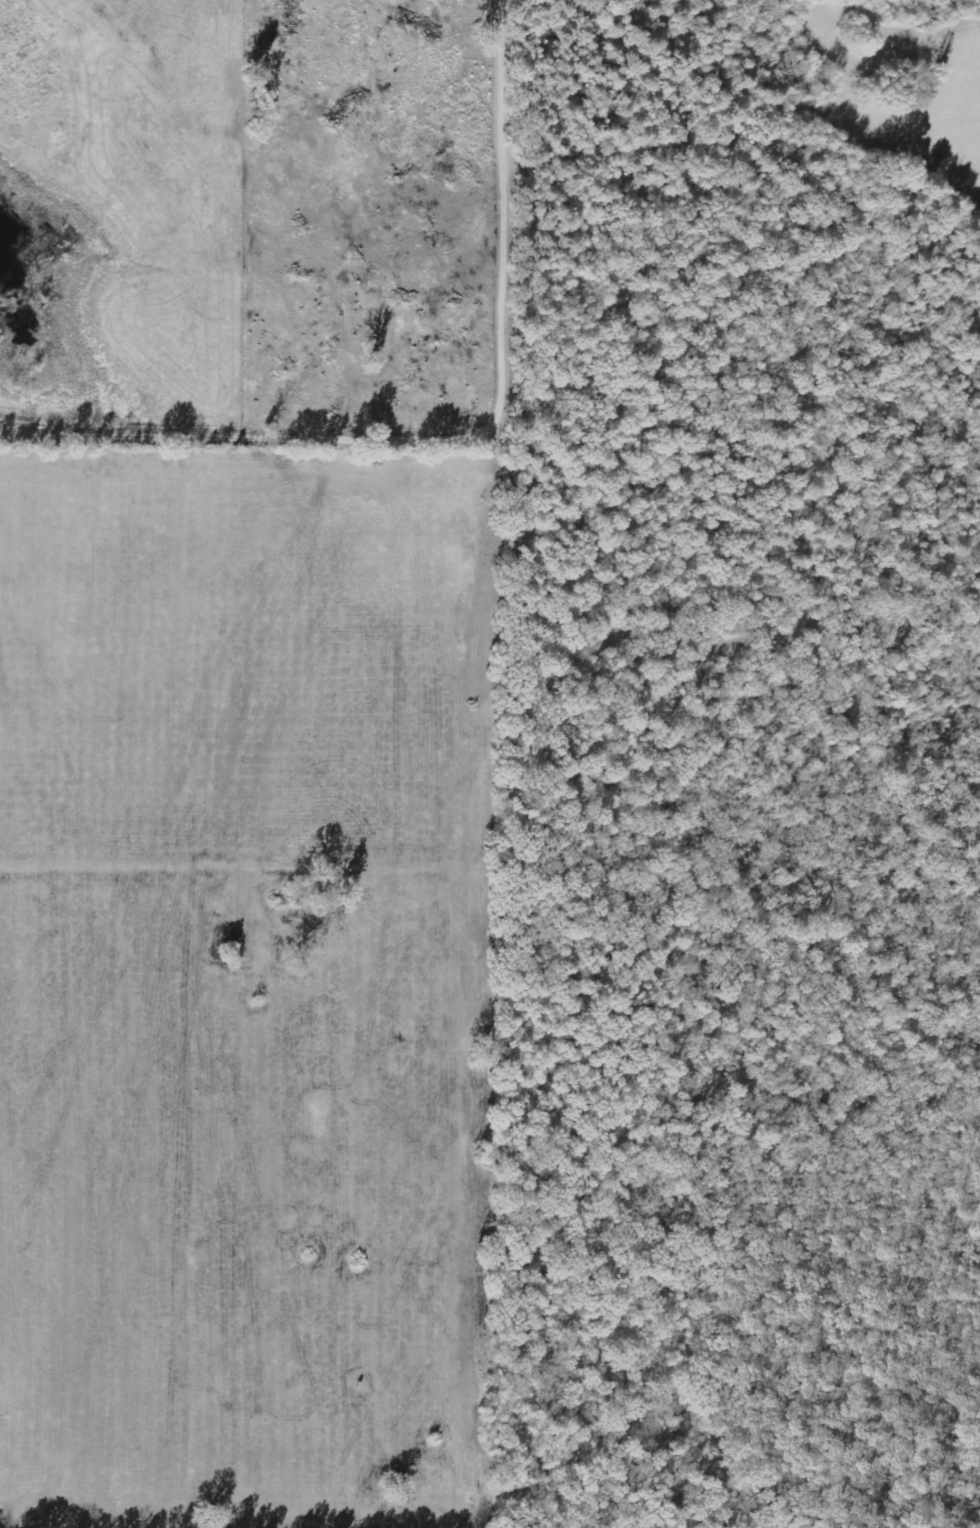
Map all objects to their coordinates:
road: (467, 439)

